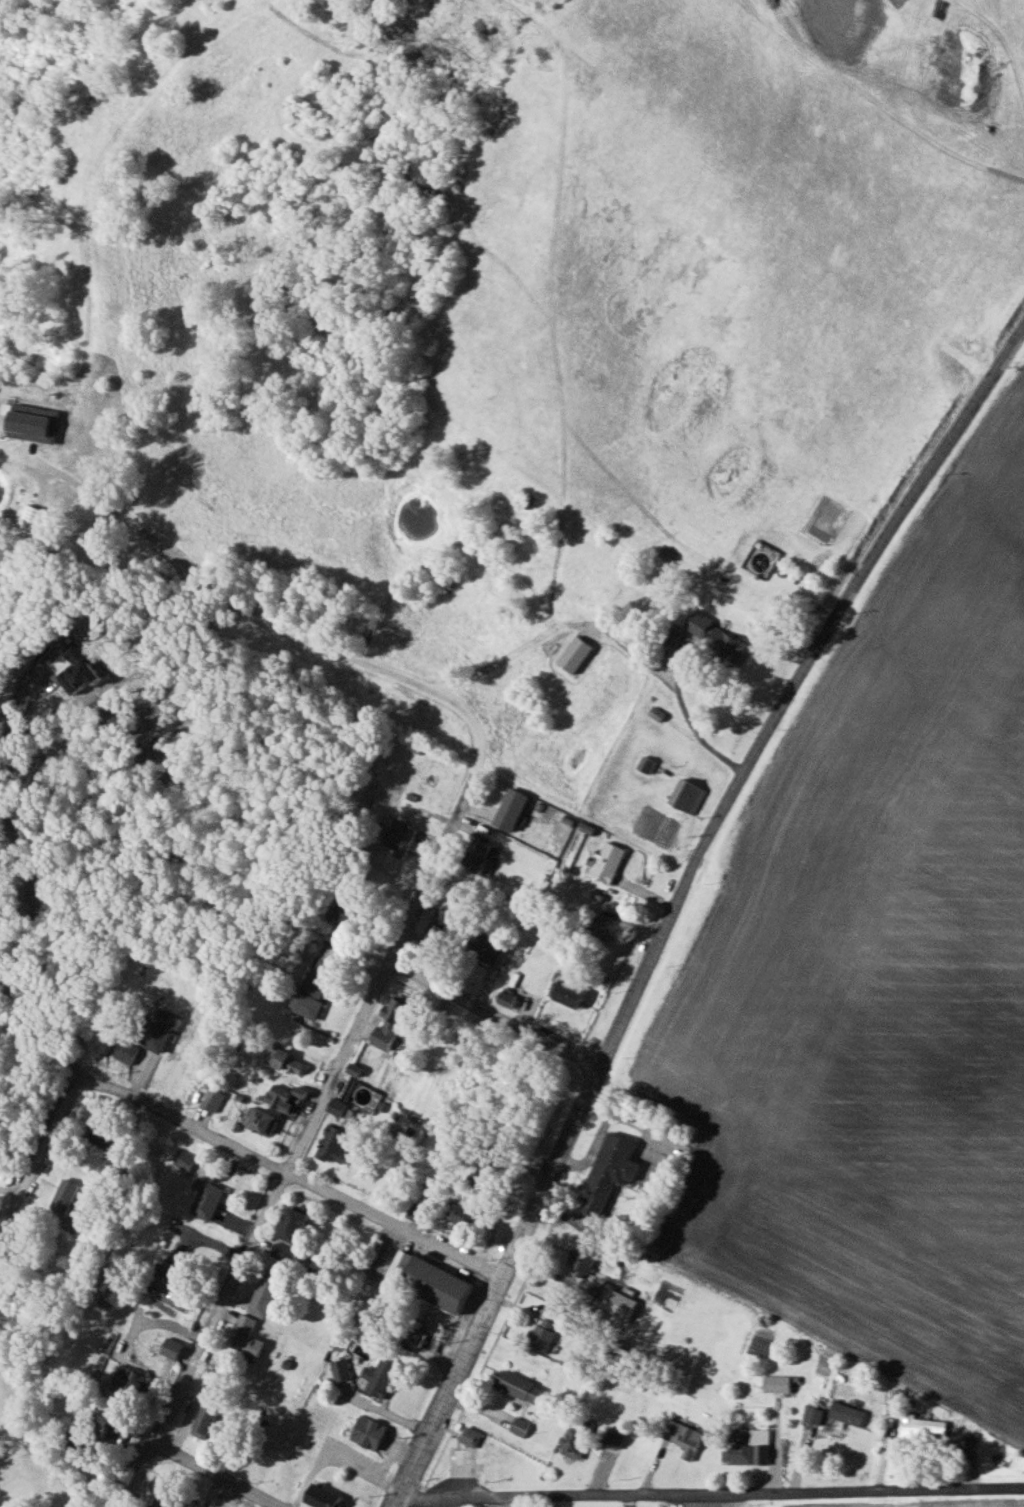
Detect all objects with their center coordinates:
building: (34, 423)
building: (33, 520)
road: (251, 609)
building: (698, 623)
building: (726, 645)
building: (576, 654)
building: (78, 669)
road: (17, 720)
road: (690, 726)
building: (645, 764)
building: (686, 796)
building: (511, 810)
building: (399, 838)
building: (476, 856)
building: (604, 862)
road: (33, 887)
road: (679, 898)
building: (346, 909)
building: (436, 927)
building: (602, 927)
building: (485, 950)
crop: (878, 980)
building: (312, 988)
building: (568, 995)
road: (491, 1016)
building: (390, 1024)
building: (160, 1030)
road: (40, 1037)
building: (124, 1052)
building: (284, 1061)
building: (352, 1069)
building: (283, 1098)
building: (212, 1100)
building: (335, 1107)
building: (261, 1121)
road: (303, 1128)
building: (99, 1135)
building: (332, 1145)
road: (38, 1151)
building: (105, 1165)
building: (608, 1172)
road: (295, 1175)
building: (481, 1175)
building: (64, 1196)
building: (208, 1201)
building: (463, 1216)
building: (293, 1225)
park: (0, 1258)
building: (581, 1260)
building: (427, 1280)
building: (264, 1293)
building: (175, 1295)
road: (153, 1322)
building: (542, 1335)
building: (245, 1337)
building: (415, 1337)
building: (172, 1348)
building: (339, 1370)
building: (379, 1377)
building: (130, 1380)
building: (775, 1384)
building: (517, 1386)
building: (893, 1400)
building: (845, 1414)
building: (811, 1415)
building: (107, 1418)
building: (203, 1422)
building: (519, 1427)
building: (920, 1427)
building: (367, 1432)
building: (469, 1436)
building: (612, 1437)
building: (683, 1438)
park: (21, 1439)
building: (571, 1444)
building: (746, 1448)
road: (336, 1461)
parking lot: (460, 1461)
road: (214, 1476)
road: (710, 1492)
building: (163, 1496)
building: (322, 1496)
crop: (934, 1505)

